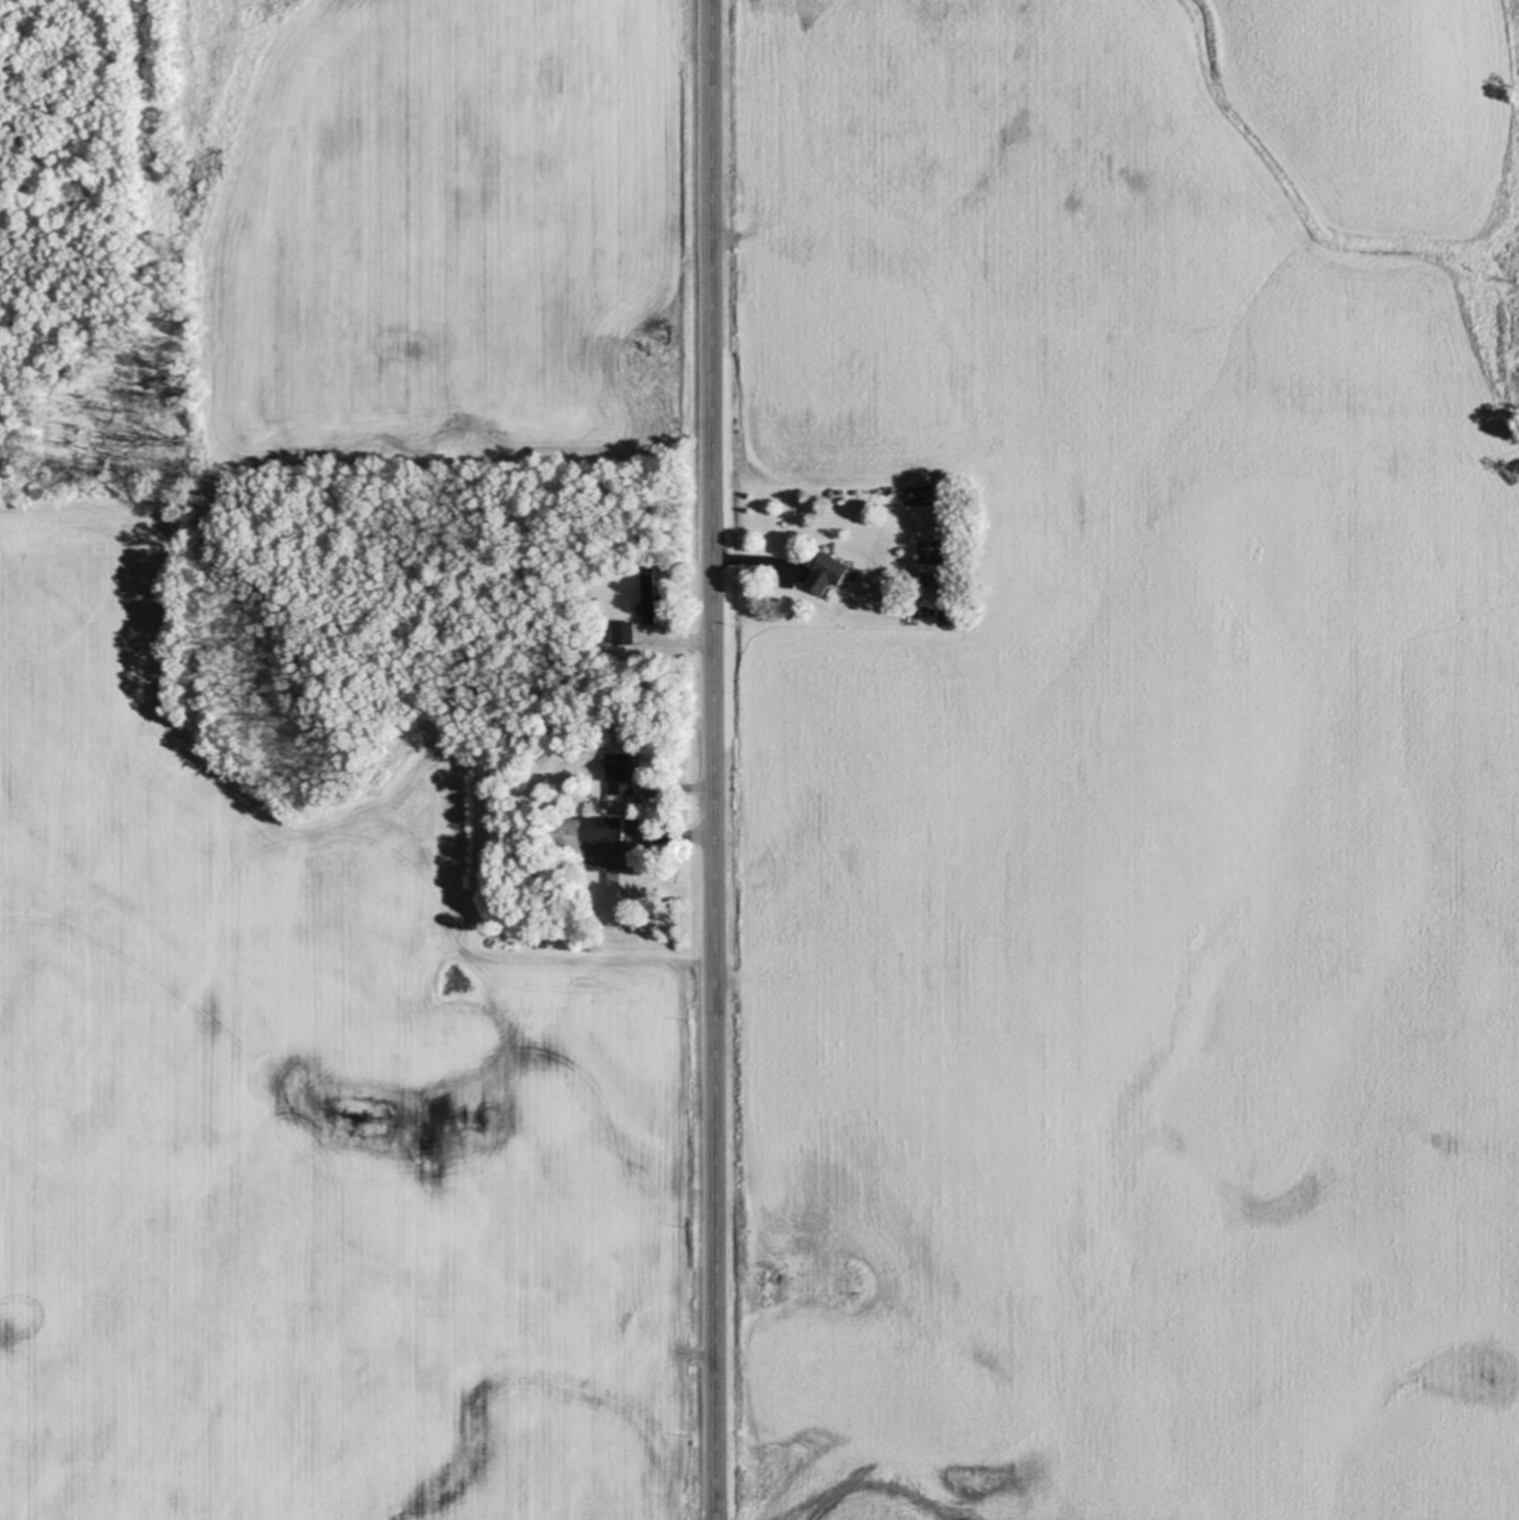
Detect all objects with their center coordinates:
road: (754, 559)
building: (823, 574)
building: (649, 596)
building: (624, 633)
road: (694, 643)
building: (641, 658)
building: (633, 725)
road: (715, 759)
building: (620, 773)
building: (609, 804)
road: (635, 821)
building: (583, 831)
building: (547, 868)
building: (622, 900)

